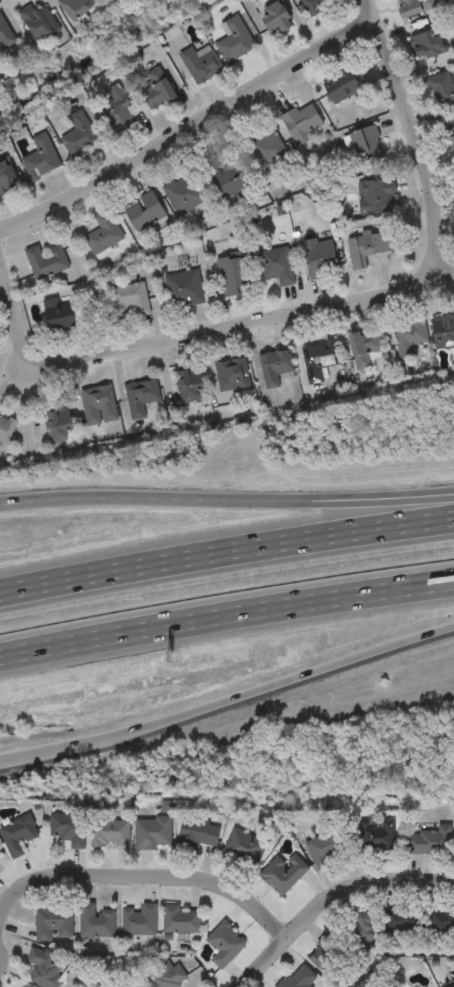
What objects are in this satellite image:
building: (318, 6)
building: (416, 7)
building: (79, 8)
building: (277, 20)
building: (40, 23)
building: (5, 36)
building: (236, 41)
building: (429, 46)
building: (202, 66)
building: (343, 88)
building: (158, 90)
building: (443, 91)
building: (119, 114)
building: (304, 125)
road: (189, 132)
building: (450, 134)
building: (80, 135)
building: (367, 146)
building: (269, 150)
building: (42, 159)
building: (7, 179)
building: (225, 182)
building: (186, 195)
building: (377, 197)
building: (146, 214)
building: (105, 235)
building: (400, 246)
building: (368, 247)
building: (321, 258)
building: (47, 263)
building: (278, 267)
road: (443, 270)
building: (236, 276)
building: (186, 290)
building: (132, 299)
road: (373, 303)
road: (13, 321)
building: (64, 322)
building: (444, 333)
building: (410, 338)
building: (367, 349)
building: (319, 361)
building: (276, 369)
building: (233, 377)
building: (192, 387)
building: (142, 398)
building: (100, 406)
building: (60, 427)
building: (6, 430)
road: (226, 502)
road: (226, 551)
road: (226, 615)
road: (229, 704)
building: (68, 829)
building: (109, 833)
building: (199, 833)
building: (151, 834)
building: (18, 836)
building: (376, 838)
building: (429, 842)
building: (328, 848)
building: (243, 849)
building: (0, 853)
building: (283, 873)
road: (143, 877)
road: (329, 897)
building: (179, 919)
building: (402, 919)
building: (138, 920)
building: (52, 921)
building: (95, 921)
building: (442, 922)
building: (362, 929)
building: (224, 944)
building: (326, 955)
building: (44, 967)
building: (164, 975)
building: (295, 979)
building: (136, 986)
building: (139, 986)
building: (452, 986)

